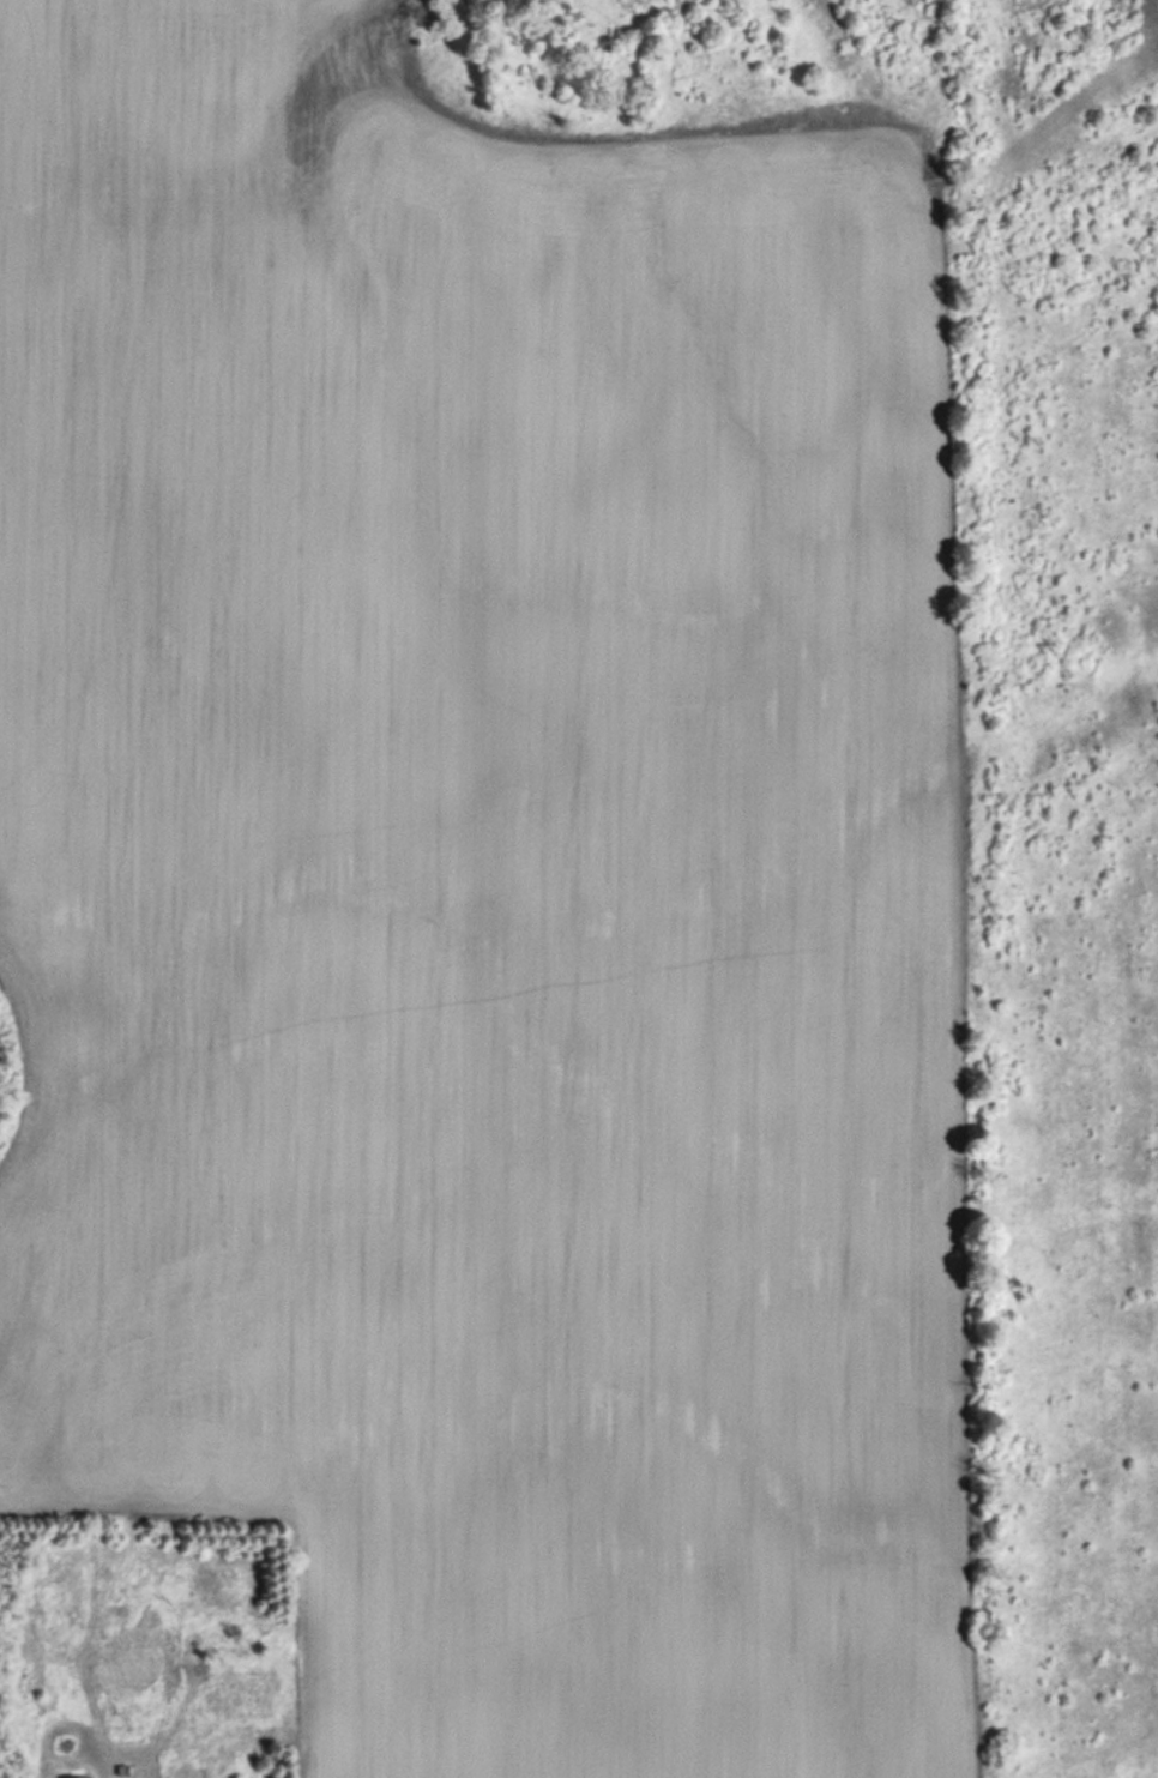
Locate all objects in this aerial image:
building: (249, 1694)
building: (70, 1777)

